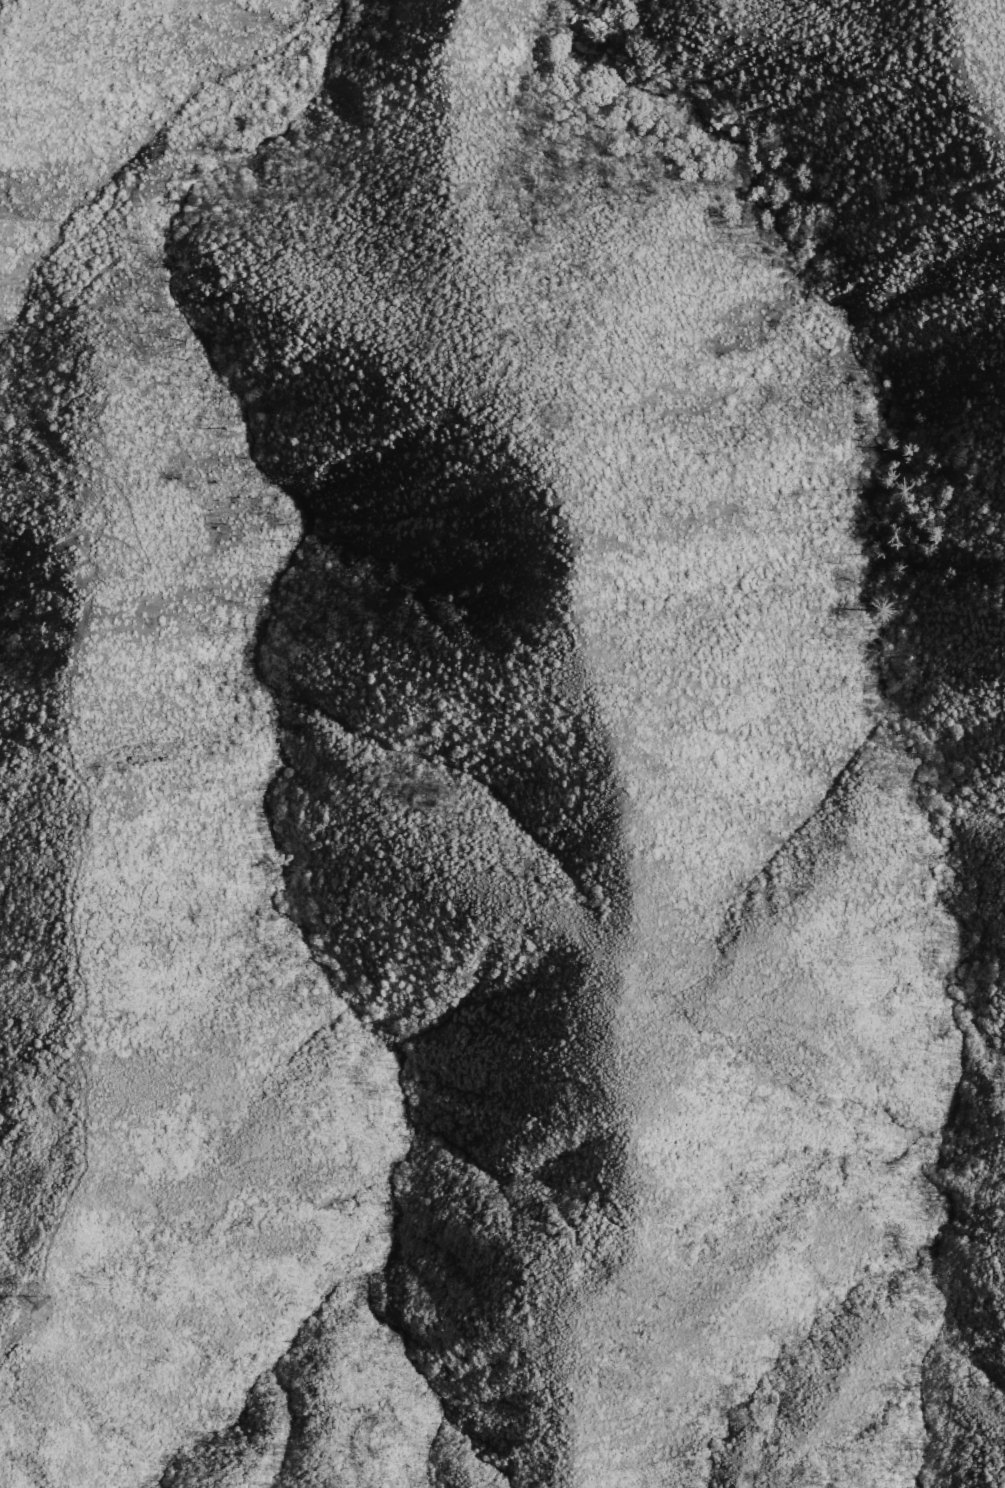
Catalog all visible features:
road: (192, 83)
road: (82, 610)
power tower: (29, 1298)

